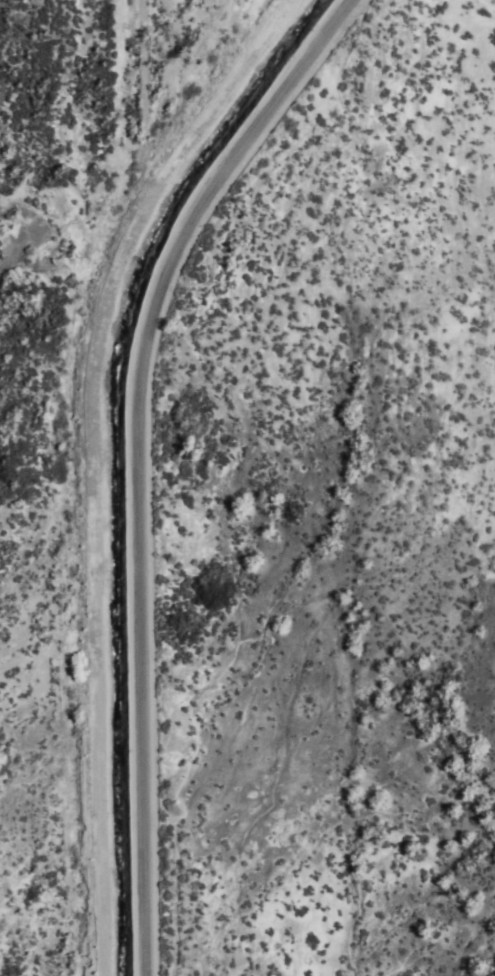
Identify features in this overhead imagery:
road: (164, 462)

